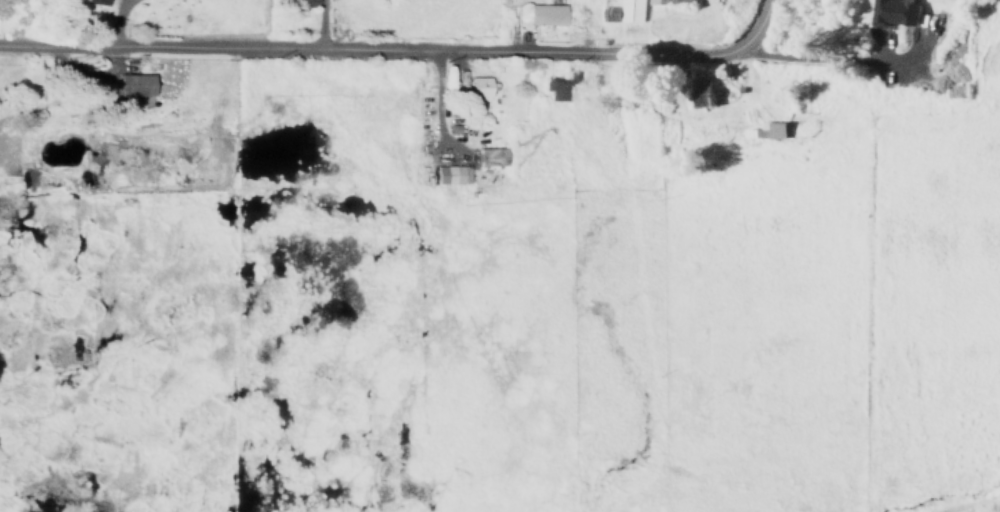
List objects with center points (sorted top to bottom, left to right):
building: (93, 2)
building: (672, 2)
building: (621, 11)
building: (894, 12)
building: (545, 15)
road: (112, 22)
road: (755, 24)
road: (371, 47)
road: (809, 58)
building: (556, 85)
building: (133, 86)
building: (479, 90)
building: (704, 93)
building: (767, 131)
building: (490, 158)
building: (450, 176)

